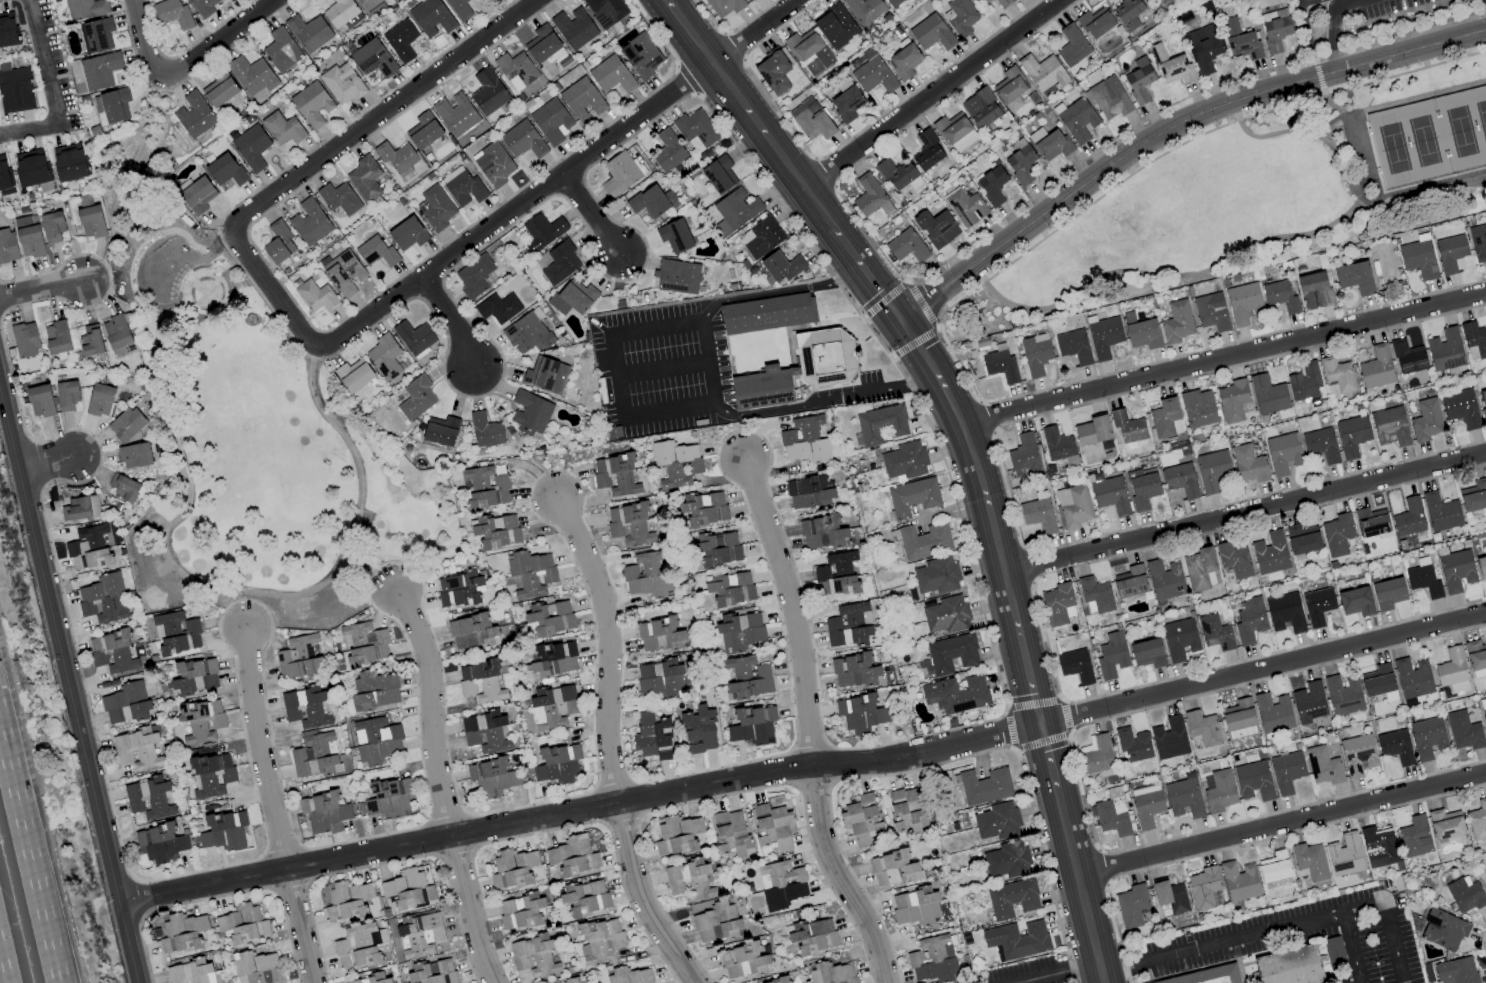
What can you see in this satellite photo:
building: (753, 0)
building: (893, 2)
building: (982, 2)
building: (1003, 3)
road: (1309, 3)
building: (367, 4)
building: (203, 6)
building: (724, 6)
building: (85, 8)
building: (459, 9)
building: (864, 10)
building: (605, 11)
building: (340, 12)
building: (171, 13)
building: (1128, 13)
building: (960, 17)
building: (431, 18)
park: (1368, 20)
parking lot: (1328, 21)
road: (1331, 21)
building: (1095, 22)
building: (835, 26)
building: (573, 27)
building: (1275, 29)
building: (308, 32)
building: (6, 33)
building: (931, 33)
building: (95, 35)
road: (149, 40)
road: (215, 40)
building: (401, 40)
building: (1240, 40)
building: (542, 45)
building: (1072, 45)
building: (1203, 47)
building: (808, 48)
building: (281, 49)
building: (641, 55)
building: (372, 58)
road: (45, 61)
building: (905, 61)
road: (1313, 61)
building: (1171, 66)
building: (99, 70)
building: (516, 70)
building: (774, 72)
building: (1042, 72)
building: (873, 73)
building: (252, 75)
building: (611, 75)
building: (1139, 80)
building: (342, 83)
building: (219, 88)
building: (14, 89)
building: (1010, 89)
building: (487, 92)
road: (933, 95)
road: (1399, 96)
building: (1109, 98)
building: (582, 99)
building: (312, 104)
building: (846, 104)
building: (114, 105)
building: (981, 108)
building: (193, 114)
building: (455, 114)
building: (811, 120)
building: (1078, 120)
building: (551, 121)
road: (29, 128)
building: (282, 128)
building: (423, 130)
building: (696, 130)
road: (1168, 131)
building: (955, 132)
road: (1308, 132)
park: (1430, 134)
road: (767, 139)
road: (1363, 139)
building: (522, 140)
building: (1050, 143)
building: (251, 147)
building: (667, 150)
building: (927, 151)
road: (324, 156)
building: (396, 158)
building: (1020, 161)
building: (70, 162)
building: (493, 163)
road: (134, 166)
building: (31, 167)
building: (225, 170)
building: (620, 173)
road: (558, 174)
building: (719, 174)
building: (898, 175)
building: (5, 177)
building: (364, 178)
building: (992, 185)
building: (463, 187)
park: (1266, 189)
road: (1107, 190)
building: (197, 195)
building: (868, 195)
building: (338, 198)
building: (652, 201)
building: (965, 207)
building: (435, 208)
building: (735, 211)
road: (589, 215)
building: (90, 221)
building: (309, 222)
building: (52, 227)
building: (936, 228)
building: (542, 231)
building: (407, 234)
building: (29, 236)
building: (675, 236)
building: (761, 237)
building: (1478, 241)
building: (278, 242)
road: (153, 245)
building: (7, 246)
building: (906, 246)
building: (376, 252)
building: (1449, 252)
building: (1418, 258)
road: (1227, 260)
building: (560, 263)
building: (781, 266)
building: (343, 273)
building: (474, 276)
building: (676, 276)
building: (1355, 277)
road: (41, 290)
building: (1314, 290)
road: (1453, 291)
road: (1435, 295)
building: (315, 296)
building: (1280, 296)
building: (573, 297)
road: (882, 300)
building: (1242, 302)
road: (1387, 307)
building: (498, 308)
road: (1372, 310)
road: (1463, 311)
building: (1211, 312)
building: (768, 313)
road: (1446, 315)
road: (1327, 321)
building: (1176, 322)
road: (450, 324)
road: (1391, 328)
building: (116, 331)
building: (1141, 332)
road: (1373, 332)
building: (527, 334)
building: (56, 337)
building: (1103, 337)
building: (1474, 337)
building: (415, 338)
building: (24, 340)
building: (90, 341)
building: (1073, 346)
building: (1445, 349)
building: (1035, 354)
building: (1407, 356)
building: (384, 357)
road: (1220, 358)
building: (1000, 366)
road: (665, 368)
building: (1376, 368)
building: (800, 370)
road: (928, 371)
road: (619, 374)
building: (1337, 374)
building: (545, 375)
building: (353, 376)
building: (1304, 381)
road: (715, 385)
building: (66, 395)
building: (1268, 395)
building: (416, 398)
building: (100, 400)
building: (1232, 400)
building: (40, 401)
building: (1483, 405)
building: (1198, 408)
building: (1460, 408)
building: (529, 413)
building: (1166, 419)
building: (1425, 420)
building: (126, 424)
building: (882, 424)
park: (250, 426)
building: (1128, 426)
building: (1389, 426)
road: (10, 427)
building: (440, 430)
building: (485, 430)
building: (1092, 431)
building: (1352, 435)
building: (805, 440)
road: (1474, 442)
building: (1056, 444)
building: (1320, 445)
road: (1429, 453)
building: (1283, 454)
building: (134, 455)
building: (1023, 456)
road: (1404, 459)
building: (904, 461)
road: (46, 463)
building: (676, 463)
building: (1248, 464)
road: (1474, 465)
road: (1002, 473)
building: (615, 475)
road: (1425, 477)
building: (1180, 479)
building: (124, 487)
building: (486, 487)
building: (1142, 488)
building: (809, 492)
building: (1109, 494)
building: (1474, 495)
building: (912, 496)
building: (1073, 506)
building: (80, 508)
building: (704, 509)
road: (1244, 511)
building: (1440, 511)
building: (1038, 515)
building: (1408, 517)
building: (1371, 522)
building: (629, 524)
building: (496, 531)
building: (822, 532)
building: (1337, 534)
building: (1302, 539)
building: (924, 541)
road: (994, 543)
building: (718, 548)
building: (88, 549)
building: (1270, 553)
building: (1233, 560)
building: (840, 562)
building: (1481, 567)
building: (1199, 569)
building: (1456, 571)
building: (530, 573)
building: (646, 575)
road: (368, 576)
building: (937, 576)
building: (1164, 579)
building: (1423, 579)
building: (1130, 582)
building: (833, 583)
building: (731, 588)
building: (458, 589)
building: (1388, 593)
building: (1095, 596)
road: (217, 597)
building: (102, 599)
building: (1355, 601)
building: (1058, 604)
building: (1317, 606)
road: (244, 610)
road: (790, 610)
building: (1285, 613)
building: (946, 615)
building: (550, 618)
building: (1249, 621)
building: (848, 625)
building: (739, 631)
building: (1214, 632)
building: (176, 633)
building: (473, 633)
building: (660, 635)
building: (1179, 639)
building: (365, 643)
building: (112, 652)
building: (1147, 653)
building: (949, 654)
building: (1111, 656)
building: (1476, 657)
building: (298, 658)
building: (554, 659)
building: (1075, 665)
building: (1452, 670)
building: (855, 671)
building: (195, 676)
building: (1412, 677)
building: (748, 678)
building: (660, 679)
building: (481, 681)
building: (1379, 682)
building: (374, 691)
road: (1032, 693)
building: (956, 694)
building: (1342, 695)
building: (1308, 702)
building: (125, 704)
building: (305, 707)
building: (552, 707)
building: (859, 712)
building: (1273, 712)
building: (1238, 715)
building: (1484, 716)
building: (200, 721)
building: (753, 725)
road: (76, 726)
building: (1202, 728)
building: (699, 730)
building: (1463, 731)
building: (484, 732)
building: (644, 735)
building: (1169, 738)
building: (1427, 738)
building: (376, 740)
building: (662, 740)
building: (1133, 744)
building: (1394, 746)
road: (608, 747)
building: (136, 749)
building: (1357, 755)
road: (1047, 756)
building: (1098, 757)
building: (557, 764)
building: (1323, 766)
road: (804, 767)
building: (1286, 771)
building: (212, 775)
building: (491, 777)
building: (1254, 781)
building: (984, 786)
road: (439, 788)
building: (1218, 790)
building: (1184, 797)
building: (148, 798)
building: (388, 798)
building: (1146, 805)
road: (269, 807)
building: (905, 810)
building: (323, 812)
building: (1112, 814)
building: (862, 819)
building: (997, 821)
road: (1281, 821)
building: (1477, 821)
building: (1445, 824)
building: (772, 826)
building: (224, 831)
building: (729, 831)
building: (677, 835)
building: (1415, 837)
building: (159, 842)
building: (1378, 846)
road: (30, 853)
building: (1344, 854)
building: (572, 856)
building: (1007, 860)
building: (1309, 861)
building: (1274, 866)
building: (512, 868)
building: (893, 869)
road: (838, 877)
building: (689, 880)
building: (1239, 881)
building: (781, 884)
road: (1080, 886)
building: (1203, 888)
building: (408, 889)
building: (1465, 894)
building: (585, 898)
building: (1011, 898)
building: (347, 900)
building: (1131, 905)
building: (915, 906)
building: (520, 911)
building: (243, 923)
building: (716, 923)
road: (1388, 926)
building: (1443, 929)
building: (181, 933)
building: (420, 934)
building: (813, 936)
building: (1016, 940)
road: (1241, 940)
building: (601, 941)
road: (1353, 949)
building: (533, 956)
building: (933, 959)
building: (743, 961)
building: (1300, 964)
building: (256, 967)
road: (1119, 971)
building: (1456, 971)
road: (2, 972)
building: (190, 972)
building: (432, 972)
road: (1057, 972)
building: (832, 973)
building: (1206, 975)
building: (628, 976)
building: (368, 979)
building: (571, 980)
building: (778, 981)
road: (4, 982)
road: (4, 982)

